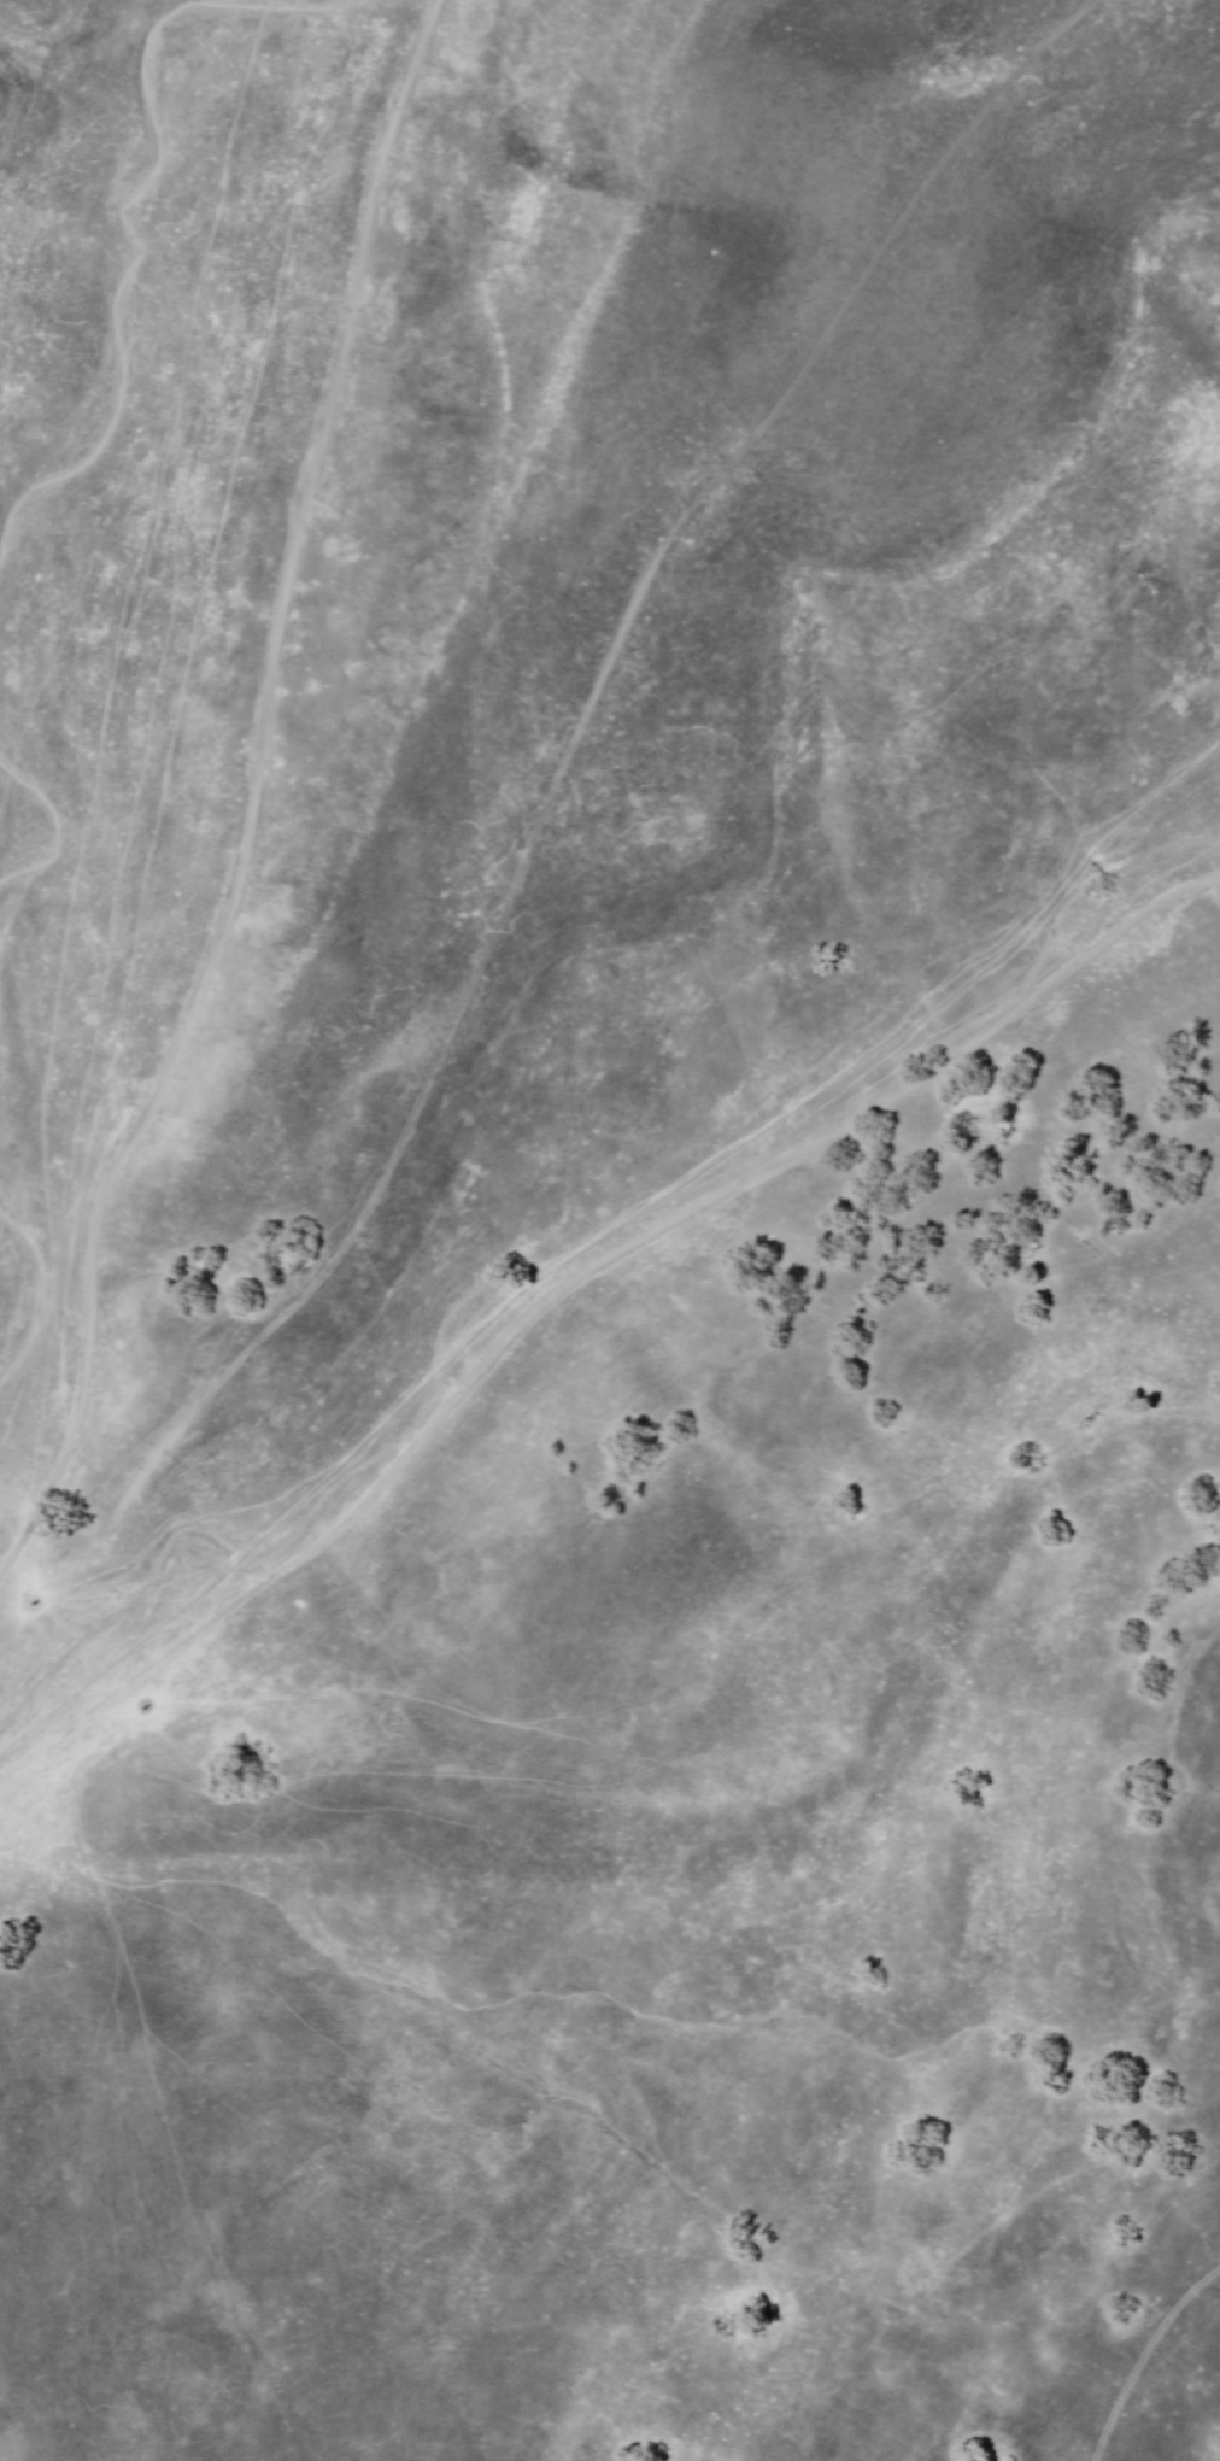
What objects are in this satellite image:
road: (250, 802)
road: (573, 1273)
road: (1145, 2357)

